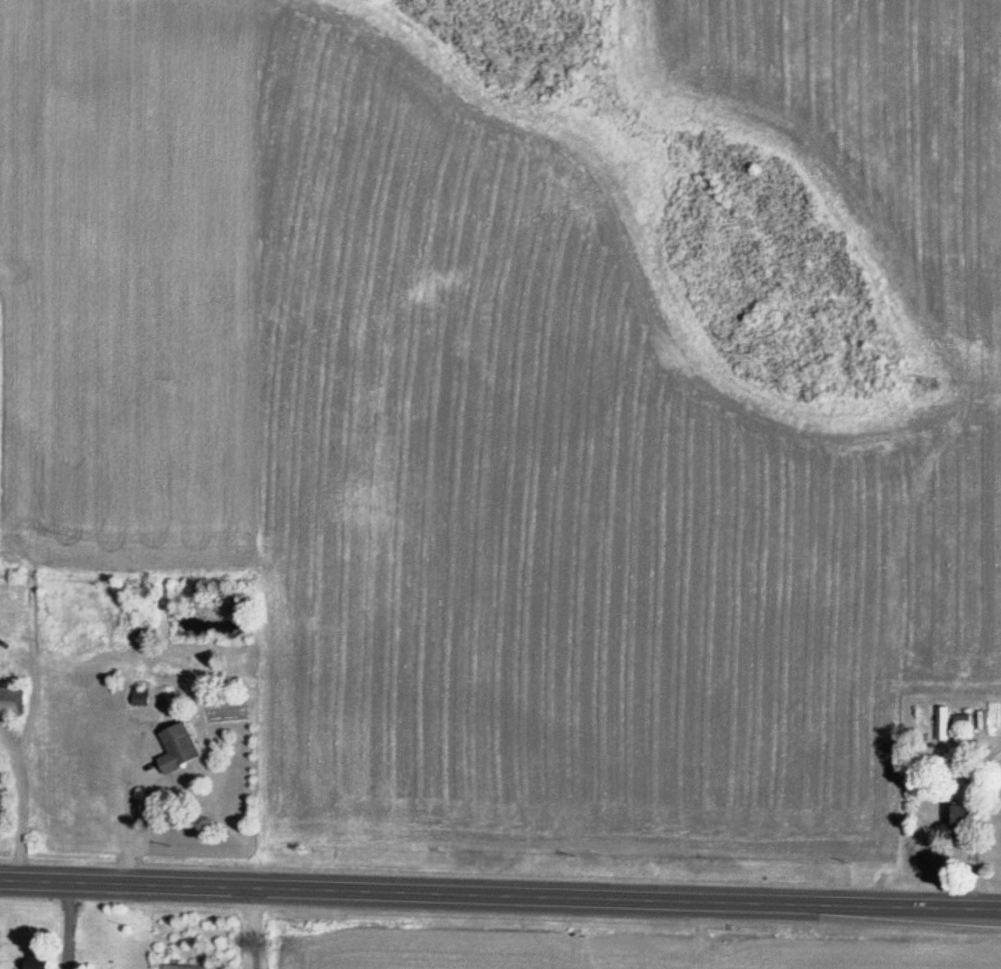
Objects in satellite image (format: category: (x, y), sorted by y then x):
building: (141, 696)
building: (11, 701)
building: (964, 719)
building: (943, 734)
building: (180, 748)
building: (957, 823)
road: (500, 892)
road: (260, 927)
building: (39, 960)

